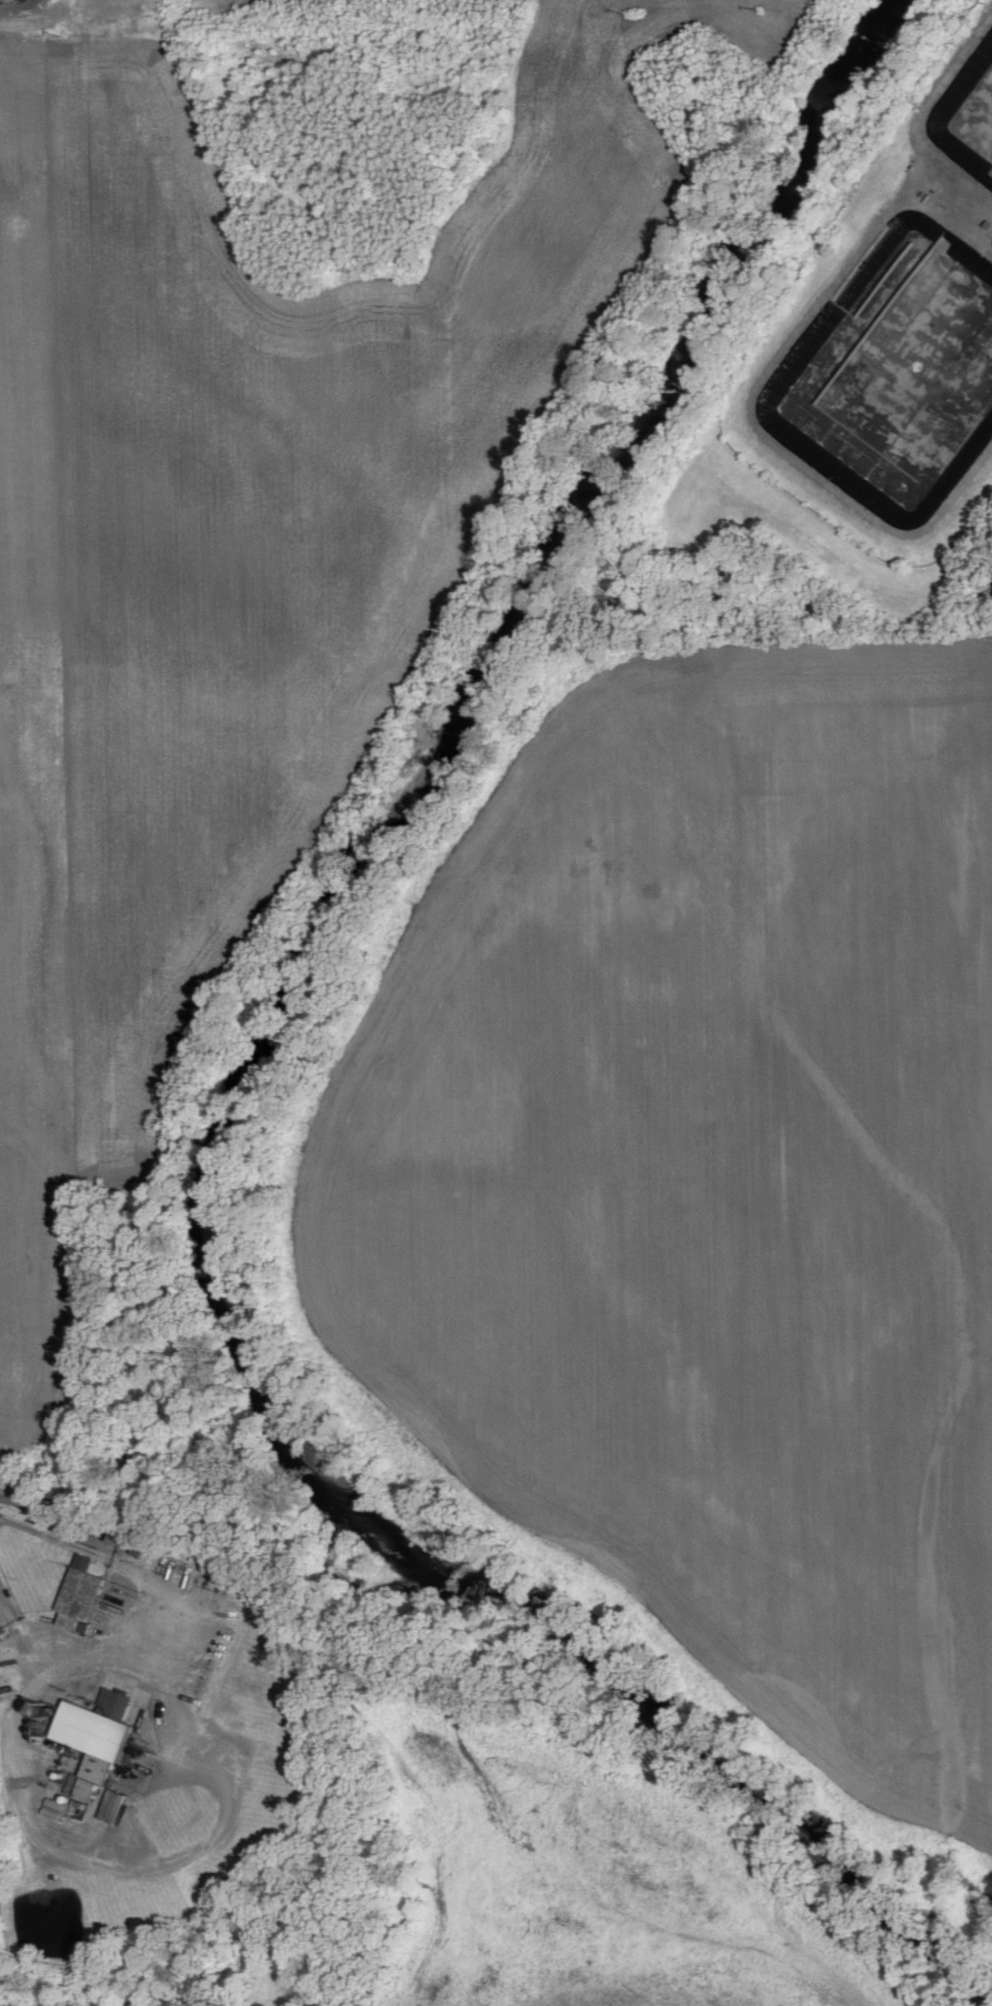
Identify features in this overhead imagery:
road: (40, 1)
road: (20, 10)
road: (969, 212)
river: (246, 1079)
road: (132, 1568)
building: (79, 1593)
road: (20, 1635)
building: (95, 1736)
building: (115, 1806)
building: (154, 1820)
road: (192, 1853)

